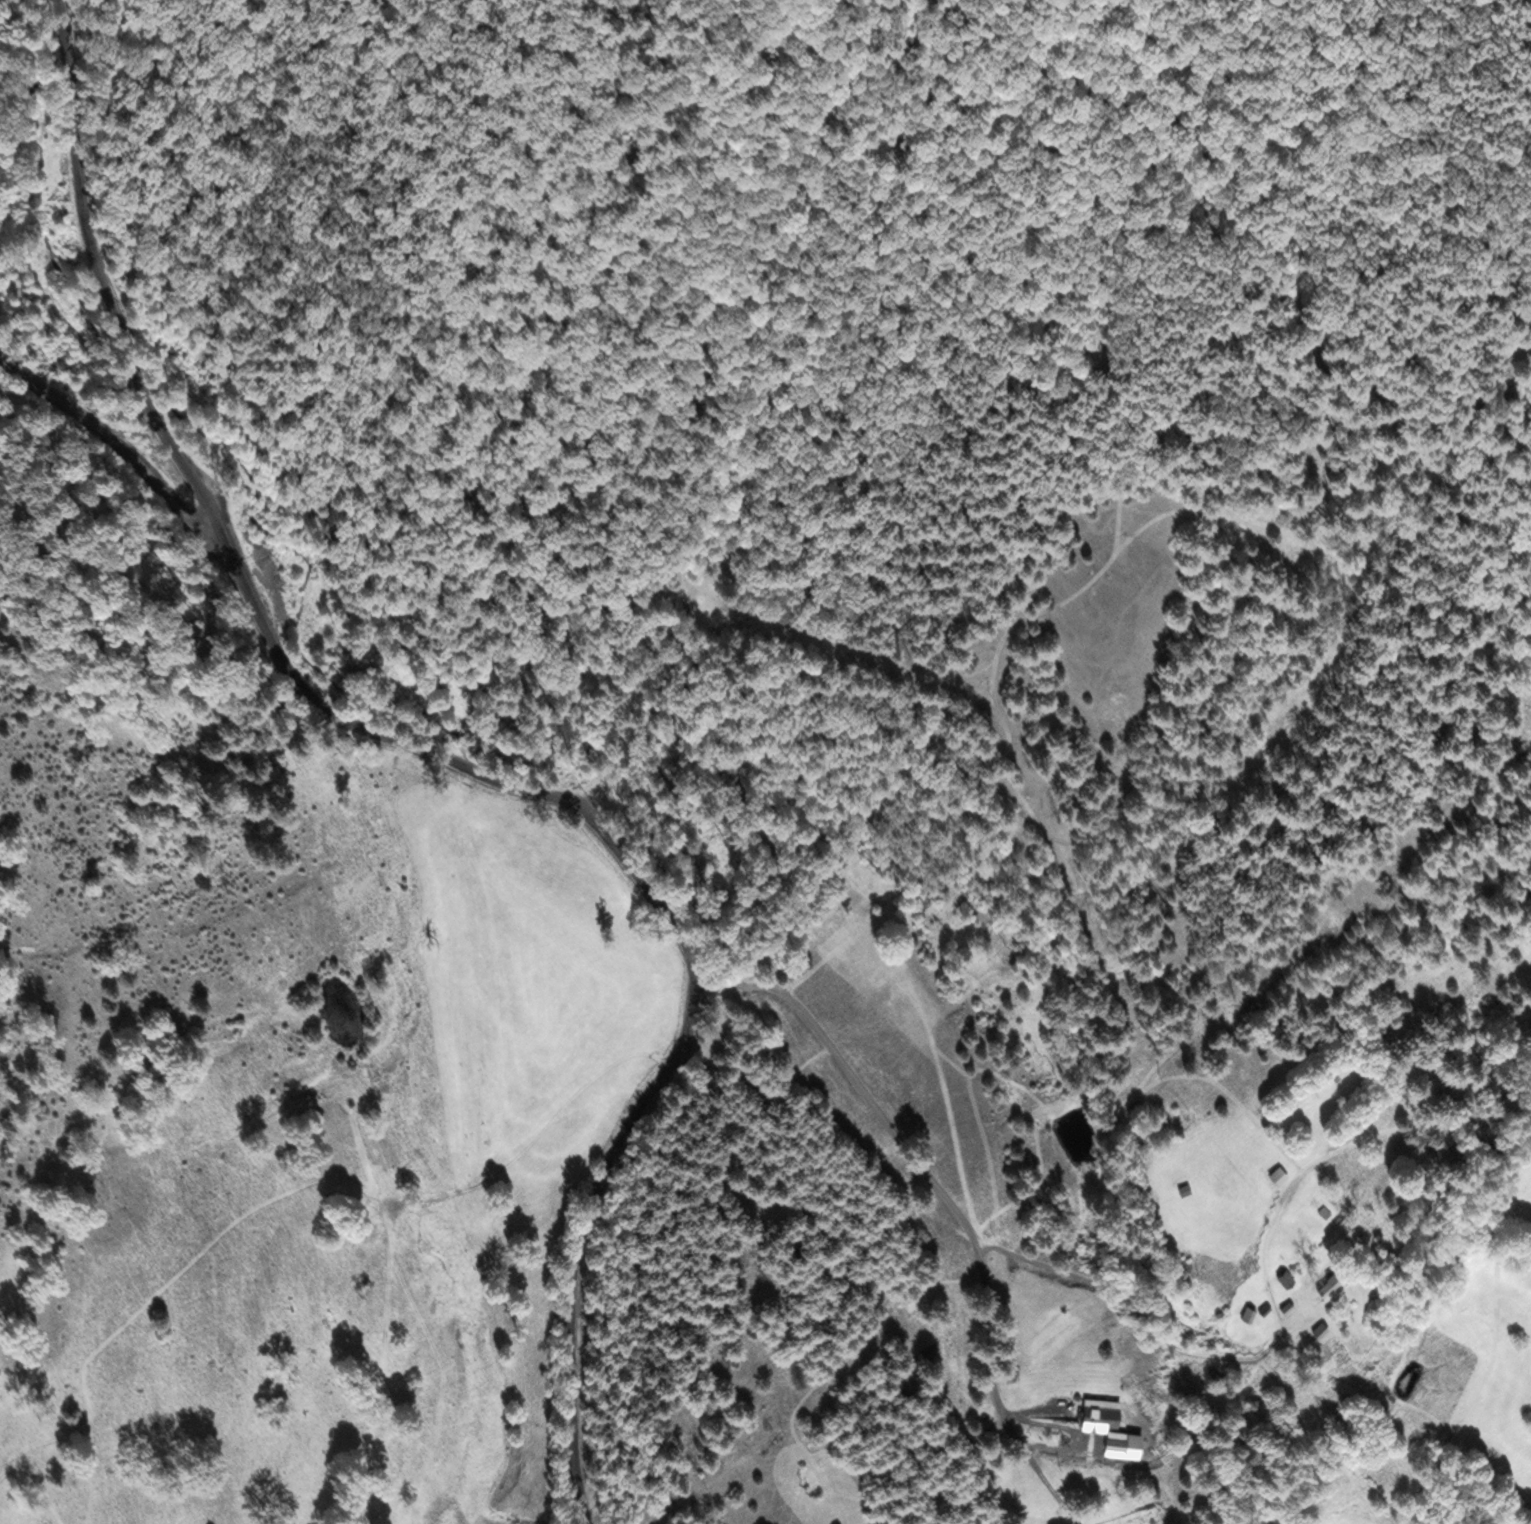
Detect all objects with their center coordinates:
road: (103, 442)
road: (456, 766)
building: (1280, 1174)
building: (1186, 1189)
building: (1325, 1211)
road: (970, 1231)
building: (1288, 1278)
building: (1334, 1284)
building: (1290, 1306)
building: (1266, 1309)
building: (1250, 1312)
building: (1322, 1328)
road: (987, 1347)
building: (1102, 1412)
building: (1120, 1440)

